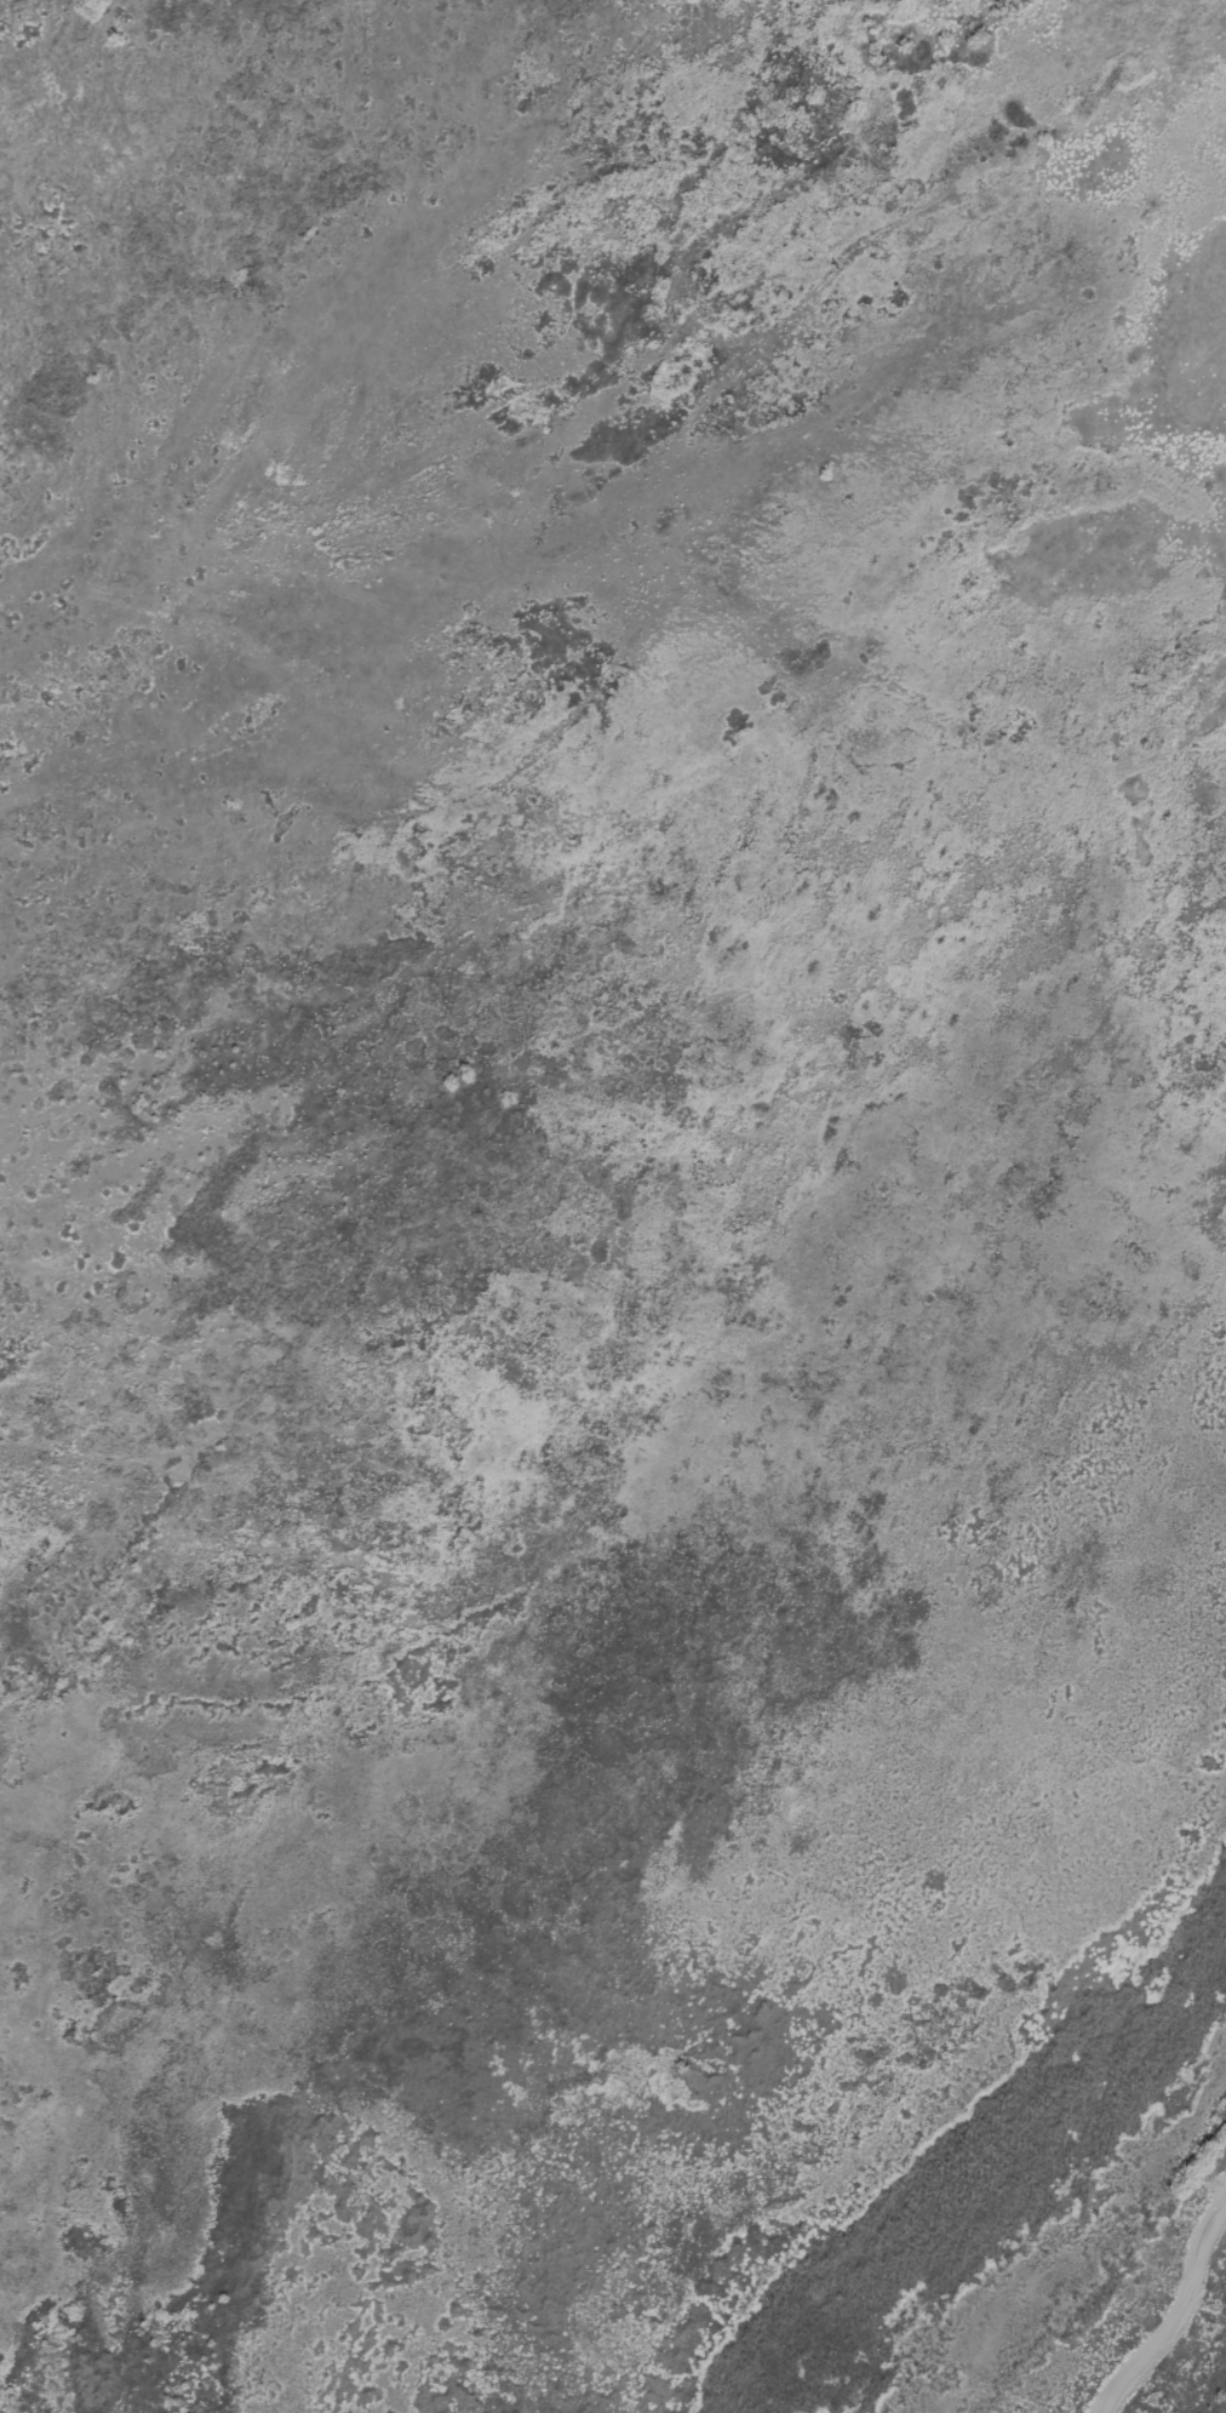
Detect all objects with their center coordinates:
road: (1185, 2322)

